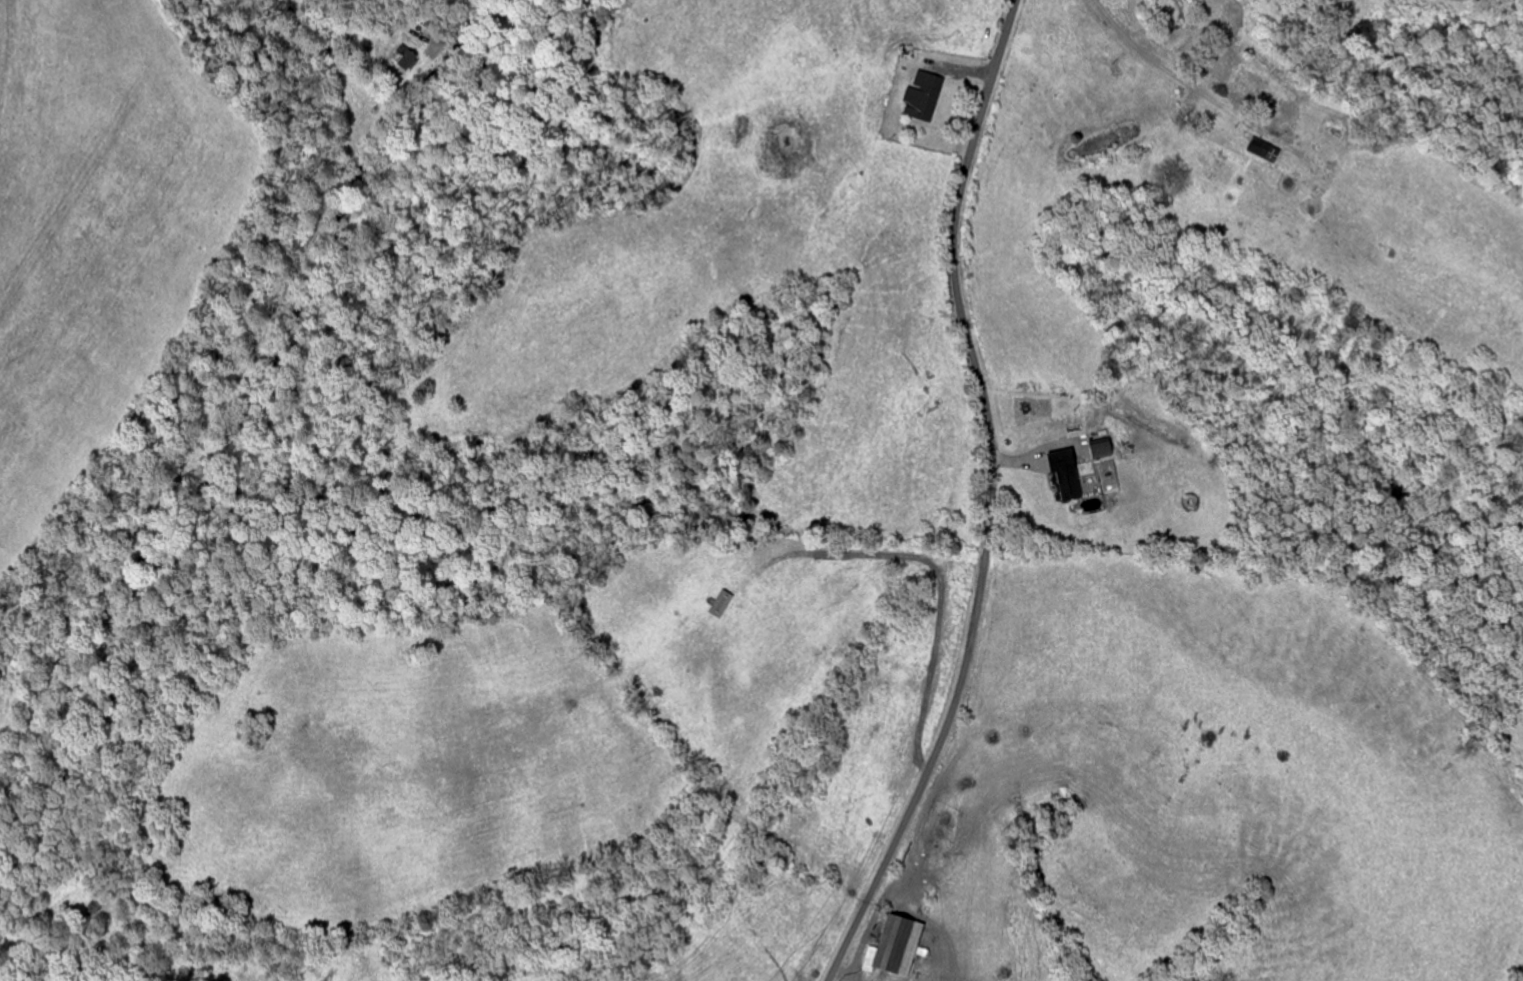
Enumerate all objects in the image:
road: (451, 20)
building: (407, 58)
building: (926, 97)
building: (1104, 448)
building: (1070, 474)
road: (991, 499)
building: (900, 948)

